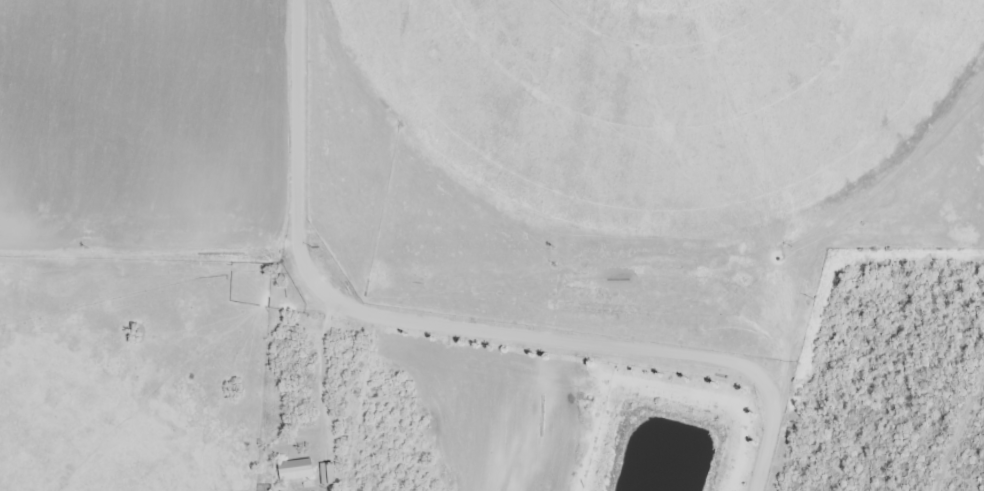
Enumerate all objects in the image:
road: (304, 130)
road: (423, 328)
road: (964, 442)
building: (293, 470)
building: (326, 474)

